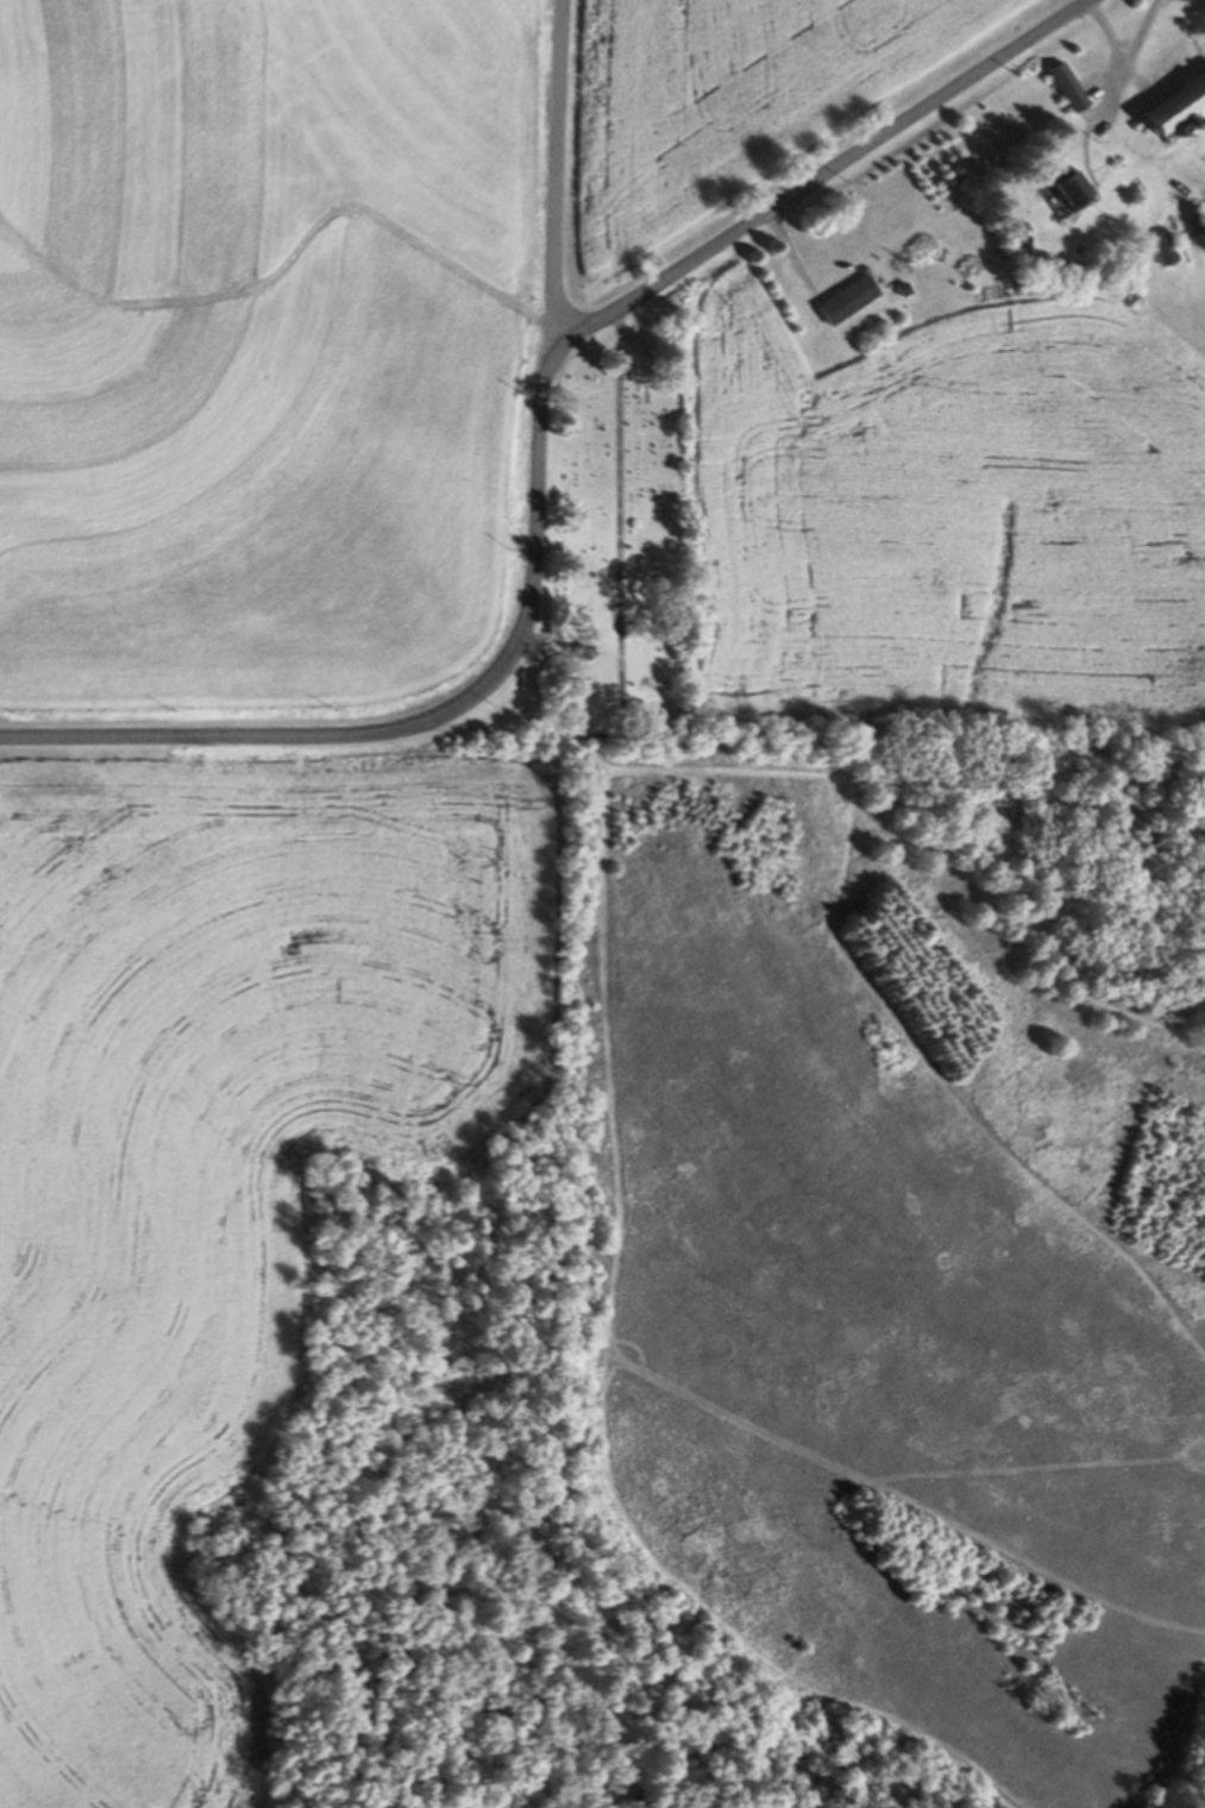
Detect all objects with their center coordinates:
road: (1118, 59)
building: (1066, 86)
building: (1173, 103)
road: (554, 171)
building: (1069, 187)
building: (1201, 206)
building: (1193, 218)
building: (1163, 244)
building: (893, 290)
building: (846, 295)
road: (539, 450)
road: (619, 503)
park: (605, 559)

